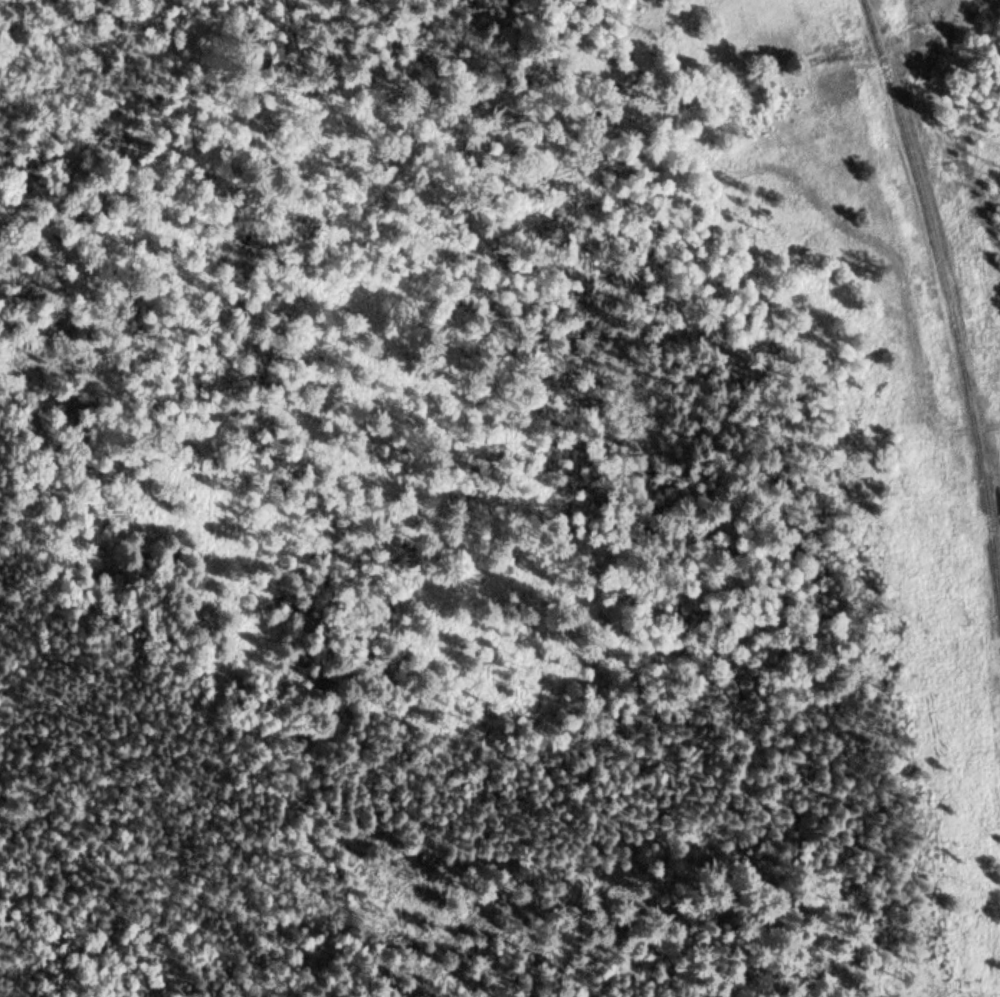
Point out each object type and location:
railway: (946, 297)

